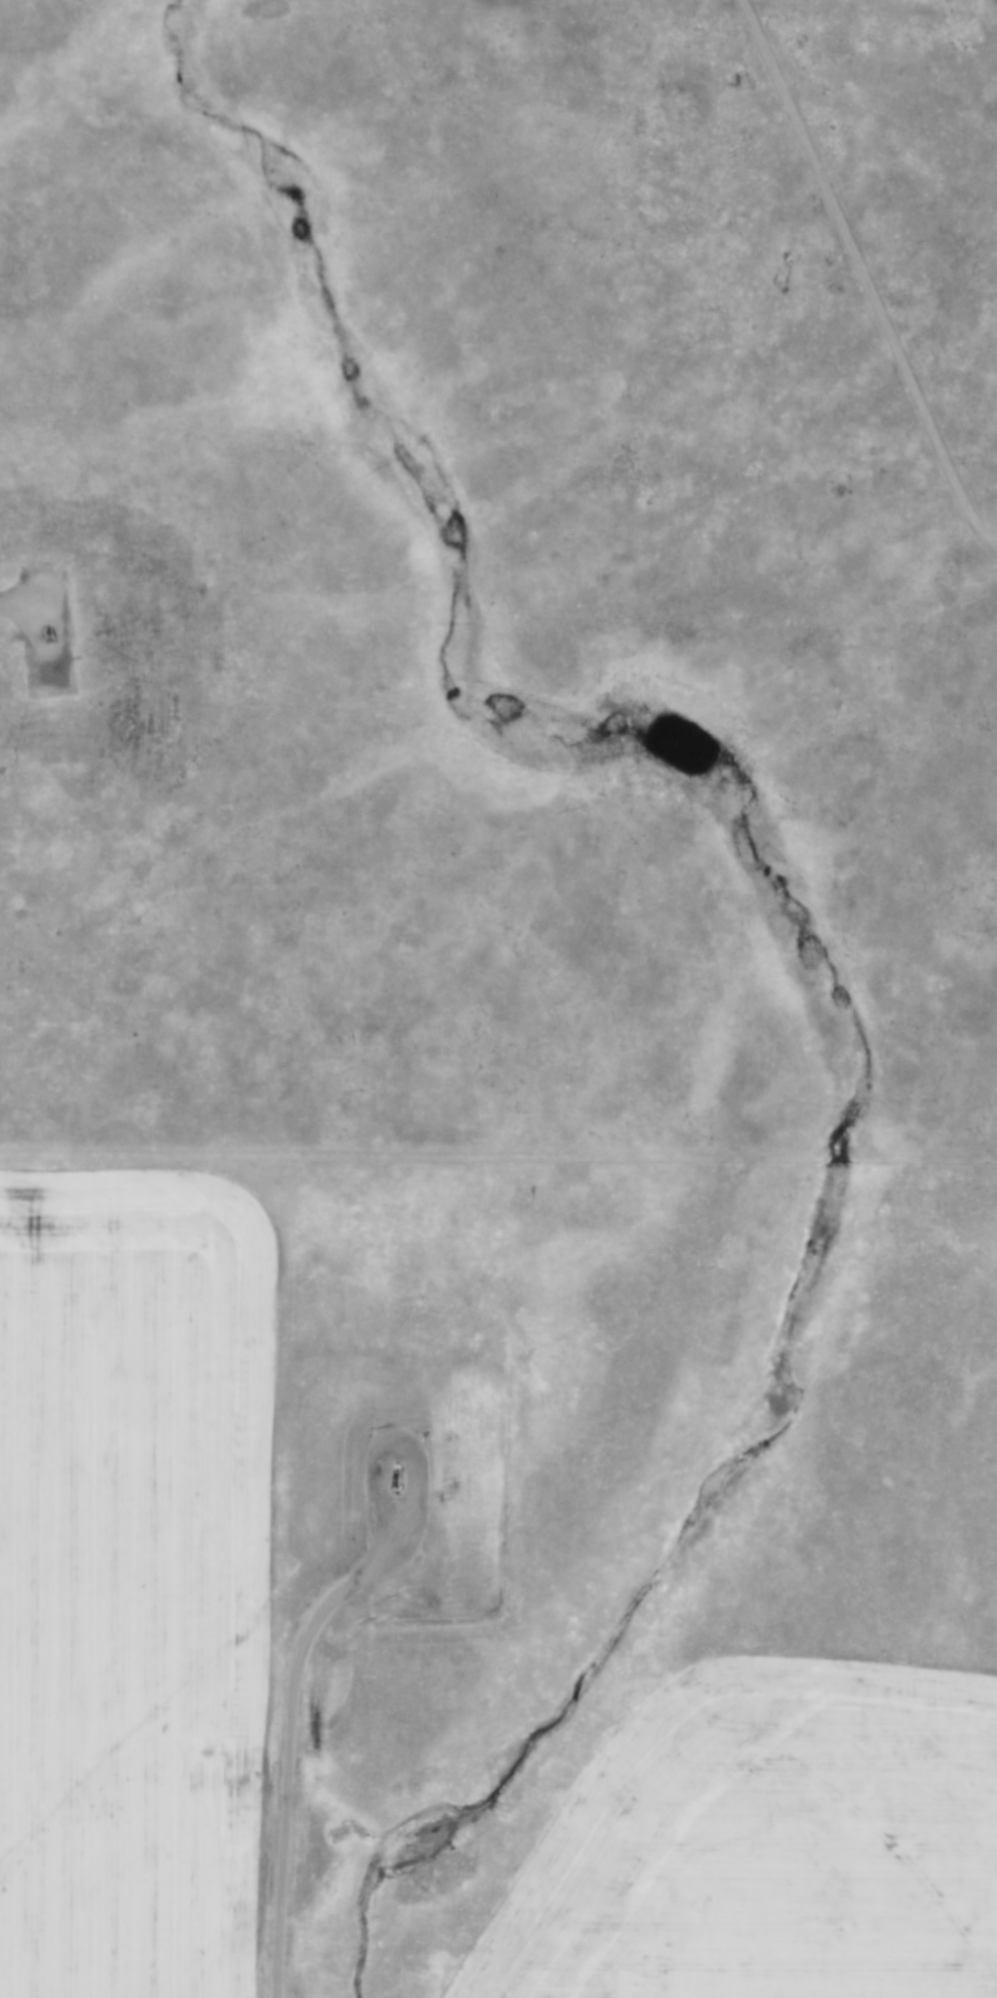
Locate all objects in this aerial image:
road: (867, 272)
road: (25, 595)

